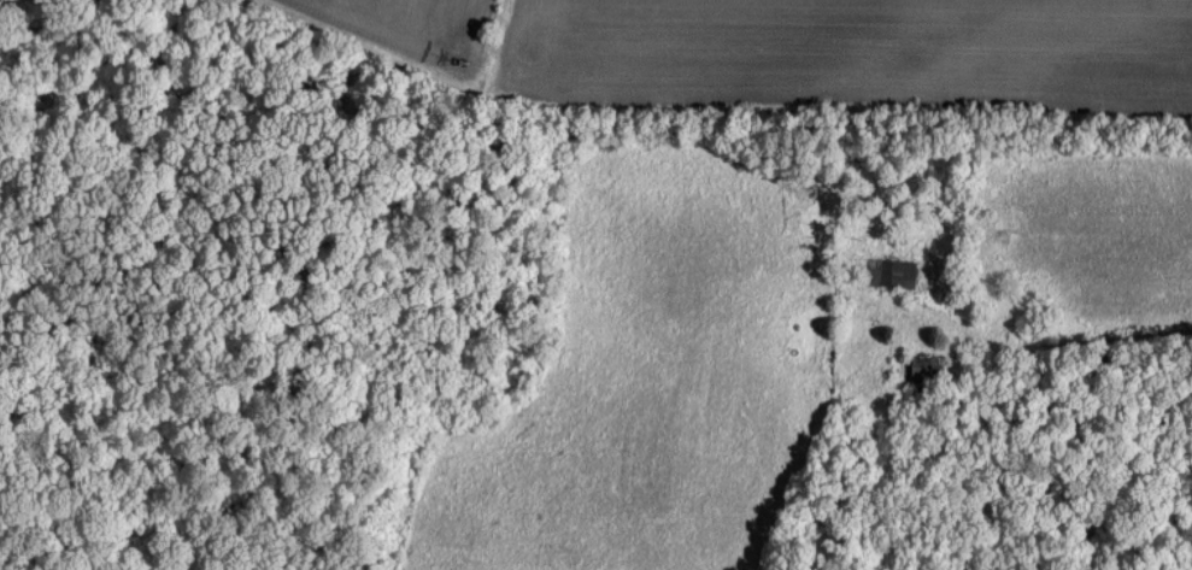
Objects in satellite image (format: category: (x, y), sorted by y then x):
building: (891, 271)
road: (1033, 340)

